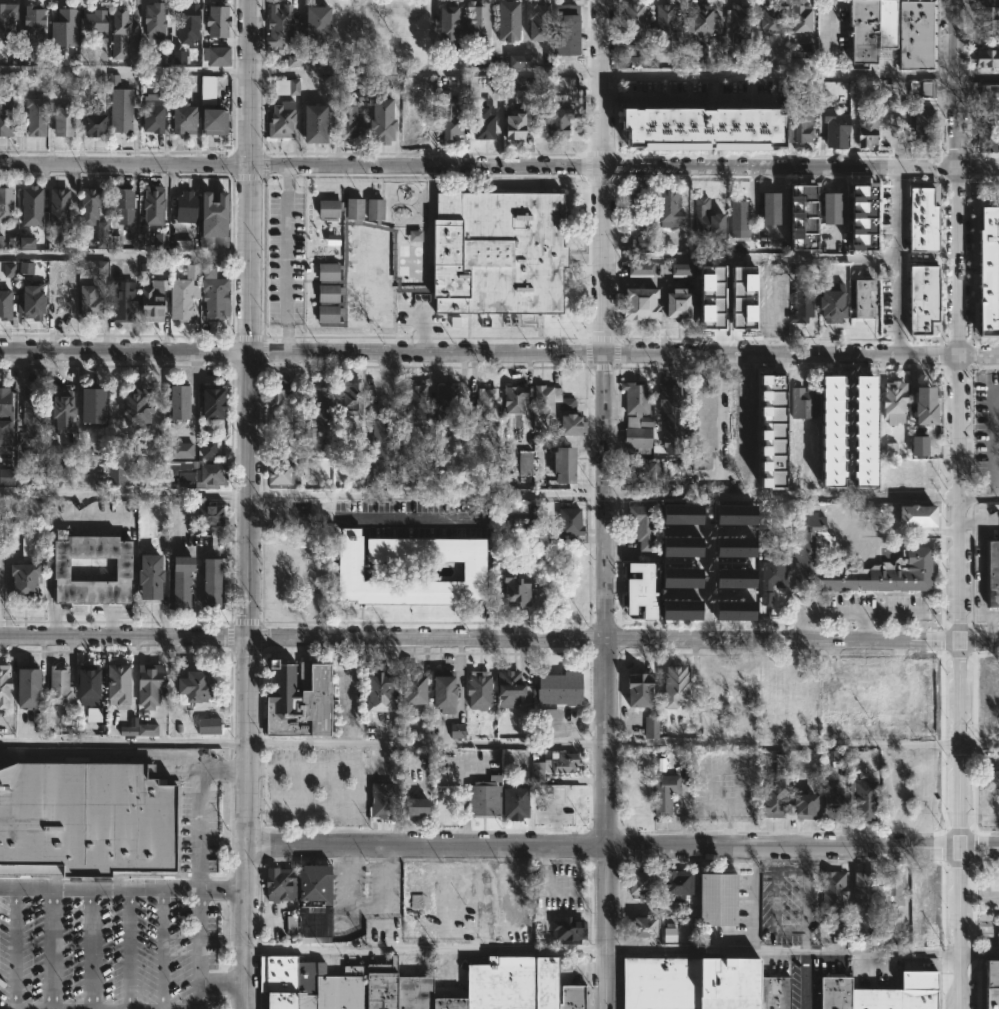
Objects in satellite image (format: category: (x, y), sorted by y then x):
building: (121, 18)
building: (800, 18)
building: (987, 18)
building: (5, 19)
building: (215, 19)
building: (537, 19)
building: (772, 19)
building: (475, 20)
building: (506, 20)
building: (29, 21)
building: (93, 21)
building: (737, 21)
building: (151, 22)
building: (631, 22)
building: (447, 23)
building: (700, 23)
building: (885, 23)
building: (184, 24)
building: (276, 24)
building: (313, 24)
building: (661, 25)
building: (565, 28)
building: (60, 30)
building: (860, 30)
building: (914, 34)
building: (628, 49)
building: (692, 54)
building: (214, 55)
building: (178, 57)
building: (460, 58)
building: (986, 58)
building: (293, 60)
building: (519, 60)
building: (636, 60)
road: (499, 74)
road: (600, 83)
road: (251, 84)
building: (286, 87)
building: (523, 87)
building: (927, 89)
building: (206, 90)
building: (995, 101)
building: (118, 106)
building: (152, 111)
building: (347, 114)
building: (4, 116)
building: (33, 116)
building: (183, 117)
building: (636, 117)
building: (62, 118)
building: (418, 118)
building: (450, 119)
building: (557, 119)
building: (210, 120)
building: (280, 120)
building: (379, 121)
building: (89, 123)
building: (311, 123)
building: (481, 123)
building: (676, 123)
building: (798, 124)
building: (924, 124)
building: (512, 125)
building: (741, 125)
building: (771, 126)
building: (834, 129)
building: (707, 130)
building: (866, 131)
building: (985, 137)
road: (125, 165)
road: (425, 167)
road: (799, 167)
building: (120, 202)
building: (86, 203)
building: (5, 204)
building: (151, 204)
building: (803, 204)
building: (28, 205)
building: (56, 206)
building: (184, 207)
building: (631, 207)
building: (830, 207)
building: (667, 209)
building: (768, 209)
building: (859, 211)
building: (213, 212)
building: (922, 215)
building: (706, 219)
building: (736, 219)
building: (101, 234)
building: (415, 235)
building: (161, 240)
building: (794, 240)
building: (1, 242)
building: (26, 242)
building: (643, 243)
building: (185, 245)
building: (452, 256)
road: (749, 256)
road: (125, 257)
road: (250, 259)
road: (603, 259)
road: (286, 260)
road: (895, 261)
building: (25, 268)
building: (98, 268)
building: (639, 269)
building: (9, 270)
building: (682, 270)
building: (988, 274)
building: (922, 293)
building: (183, 294)
building: (212, 296)
building: (742, 297)
building: (711, 298)
building: (860, 298)
building: (61, 301)
building: (122, 301)
building: (30, 302)
building: (88, 302)
building: (150, 302)
building: (639, 303)
building: (676, 303)
building: (800, 303)
building: (4, 305)
building: (828, 306)
road: (960, 319)
building: (932, 322)
road: (125, 350)
road: (427, 352)
road: (801, 354)
building: (276, 392)
building: (348, 399)
building: (413, 400)
building: (512, 400)
building: (544, 400)
building: (176, 401)
building: (210, 402)
building: (893, 402)
building: (801, 403)
building: (318, 404)
building: (443, 404)
building: (924, 405)
building: (3, 406)
building: (88, 406)
building: (134, 407)
building: (482, 409)
building: (57, 411)
road: (719, 414)
building: (669, 417)
building: (636, 418)
building: (28, 419)
building: (570, 424)
building: (701, 427)
road: (997, 428)
building: (772, 431)
building: (831, 431)
building: (864, 431)
building: (5, 436)
building: (919, 446)
building: (207, 449)
building: (180, 450)
building: (379, 451)
building: (51, 456)
building: (96, 462)
building: (524, 464)
building: (562, 464)
building: (639, 471)
building: (195, 473)
building: (116, 475)
building: (281, 475)
building: (7, 477)
road: (995, 478)
road: (124, 493)
road: (249, 494)
road: (607, 495)
road: (980, 496)
road: (428, 498)
building: (517, 513)
building: (679, 514)
building: (735, 514)
building: (208, 515)
building: (915, 515)
road: (368, 520)
building: (569, 521)
road: (970, 522)
building: (641, 525)
building: (12, 527)
building: (26, 546)
building: (679, 546)
road: (189, 551)
building: (734, 552)
road: (981, 565)
building: (856, 567)
building: (121, 570)
building: (473, 571)
road: (707, 573)
building: (992, 575)
building: (679, 577)
building: (144, 578)
building: (770, 579)
building: (23, 580)
building: (179, 582)
building: (734, 583)
building: (209, 585)
building: (641, 590)
building: (512, 591)
building: (679, 609)
road: (833, 610)
road: (891, 611)
road: (799, 624)
road: (866, 625)
road: (993, 627)
road: (499, 638)
building: (147, 684)
building: (115, 685)
building: (3, 686)
building: (55, 687)
building: (672, 687)
building: (83, 688)
building: (192, 688)
building: (22, 689)
building: (412, 689)
building: (508, 689)
building: (558, 689)
building: (442, 691)
building: (476, 691)
building: (636, 691)
building: (916, 691)
building: (376, 694)
building: (862, 694)
building: (297, 701)
road: (349, 708)
building: (93, 714)
building: (551, 715)
building: (207, 725)
building: (651, 727)
building: (138, 728)
building: (457, 731)
road: (123, 743)
road: (426, 743)
road: (784, 743)
road: (981, 745)
building: (553, 765)
building: (990, 771)
parking lot: (314, 786)
building: (662, 794)
building: (482, 797)
building: (772, 800)
building: (863, 800)
building: (381, 801)
building: (514, 803)
building: (830, 804)
building: (804, 806)
building: (414, 807)
road: (199, 808)
building: (86, 818)
road: (246, 823)
road: (606, 824)
road: (960, 824)
road: (622, 847)
building: (639, 881)
building: (278, 884)
building: (676, 884)
road: (123, 885)
building: (313, 888)
building: (890, 889)
building: (516, 891)
road: (544, 891)
building: (832, 891)
building: (864, 891)
road: (344, 892)
road: (504, 898)
building: (716, 898)
road: (804, 898)
road: (383, 899)
road: (752, 899)
building: (415, 901)
building: (640, 927)
building: (567, 929)
building: (669, 934)
building: (925, 934)
building: (997, 940)
road: (199, 946)
road: (14, 947)
road: (53, 947)
road: (89, 947)
road: (128, 947)
road: (160, 947)
road: (426, 949)
road: (783, 949)
parking lot: (105, 954)
road: (979, 957)
building: (307, 975)
road: (804, 979)
road: (223, 980)
building: (277, 981)
building: (689, 983)
building: (379, 985)
building: (917, 985)
building: (992, 985)
building: (505, 986)
building: (334, 991)
building: (411, 992)
building: (834, 992)
building: (767, 993)
building: (783, 993)
building: (571, 997)
building: (877, 999)
building: (928, 1003)
building: (915, 1004)

